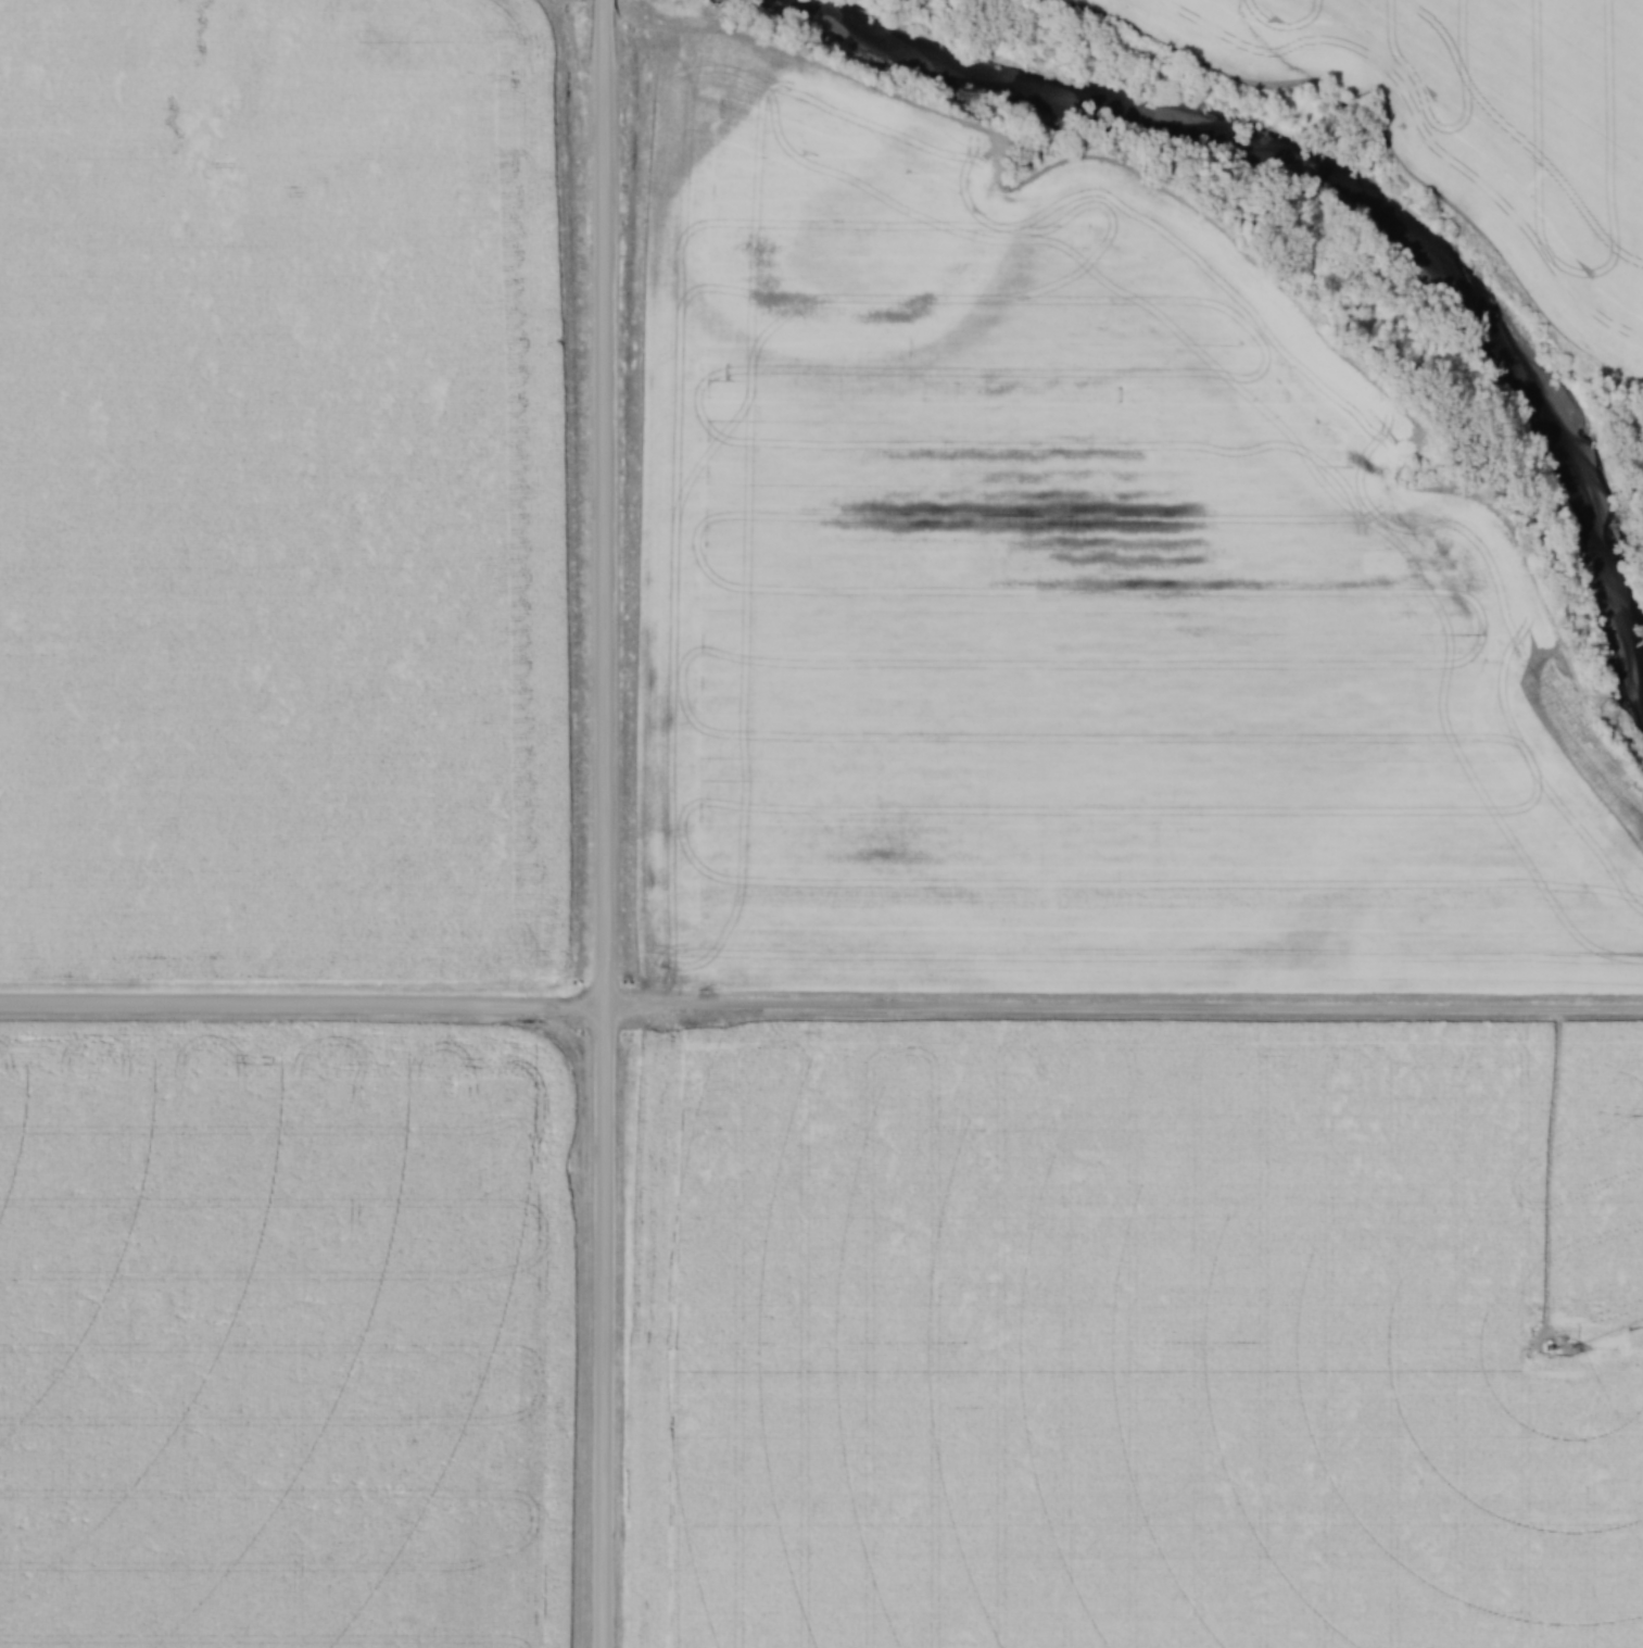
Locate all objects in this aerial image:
river: (1339, 186)
road: (603, 823)
road: (821, 1010)

